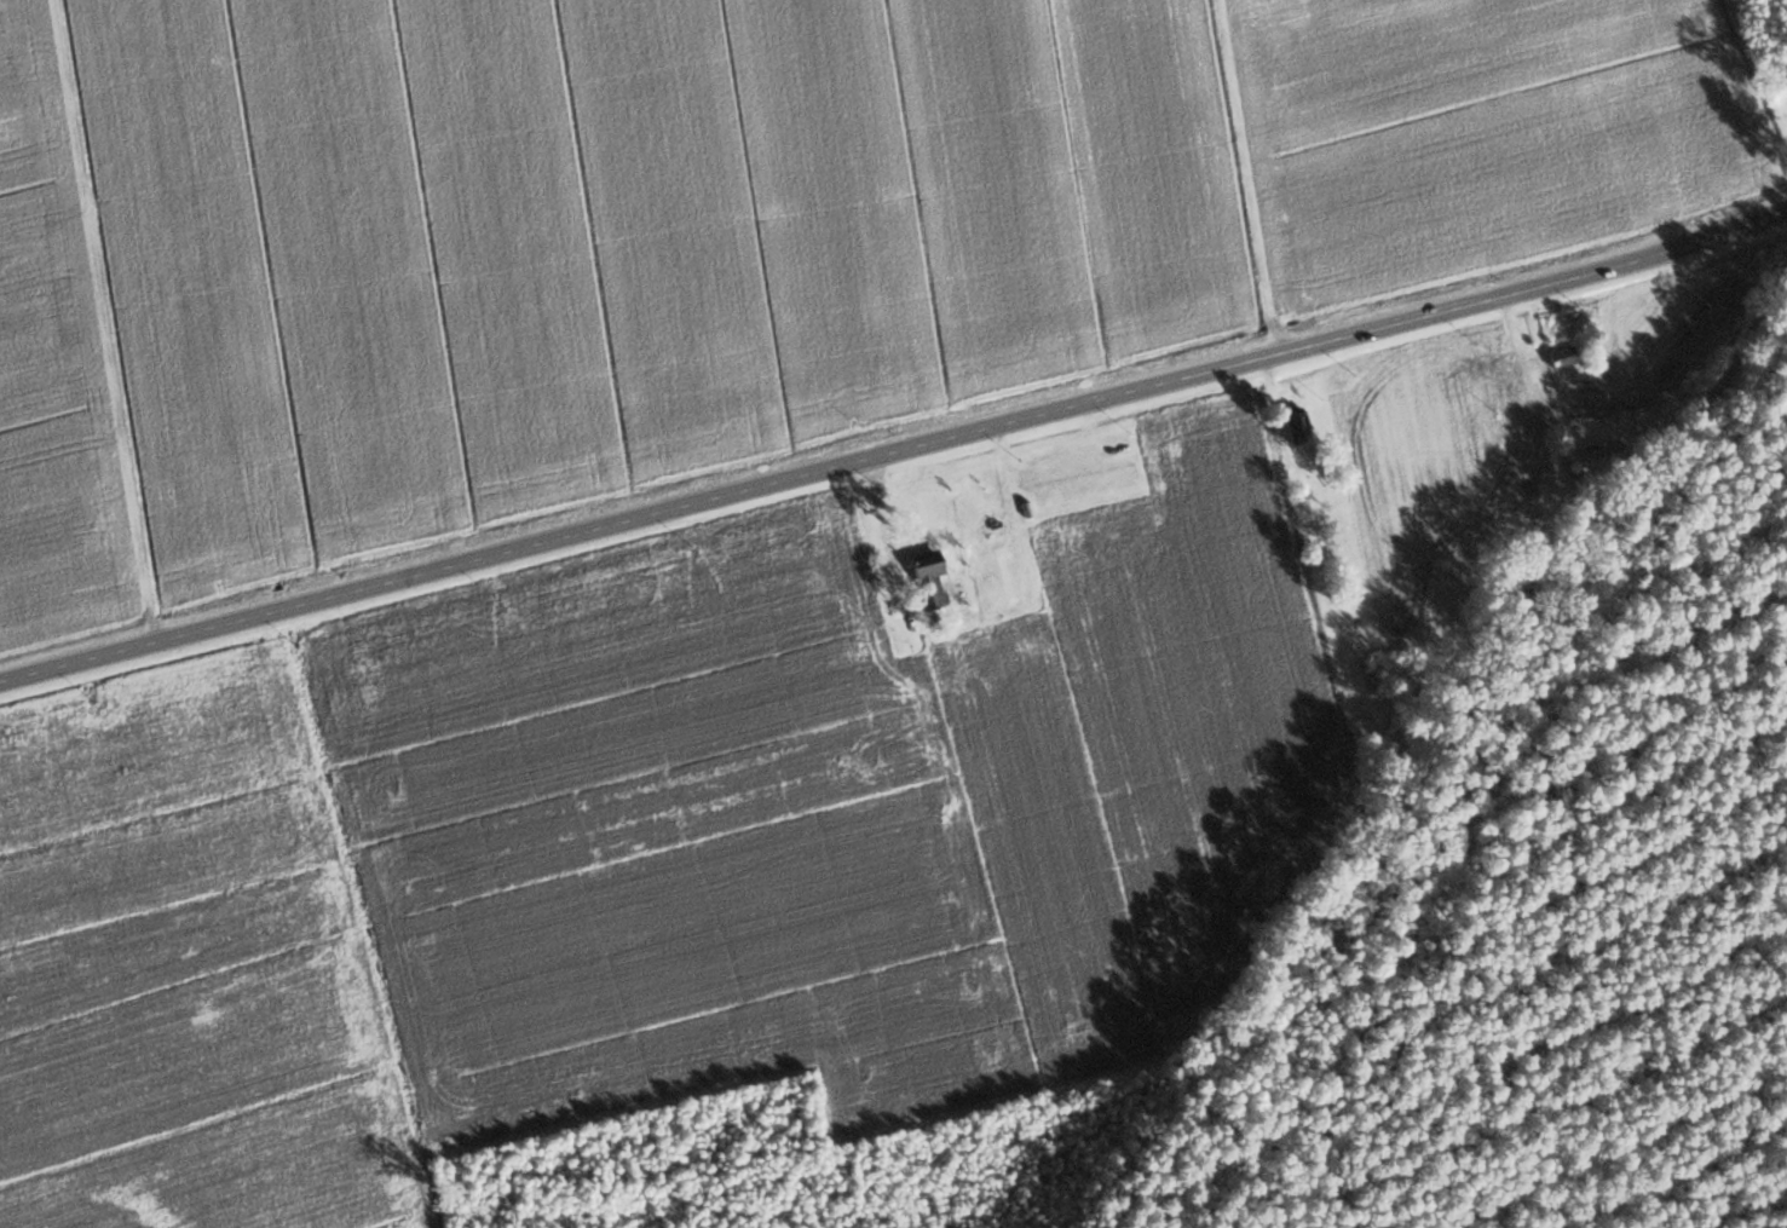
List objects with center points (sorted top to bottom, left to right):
building: (1560, 356)
building: (1295, 422)
road: (895, 449)
building: (1114, 450)
building: (1603, 450)
building: (1001, 565)
building: (922, 575)

